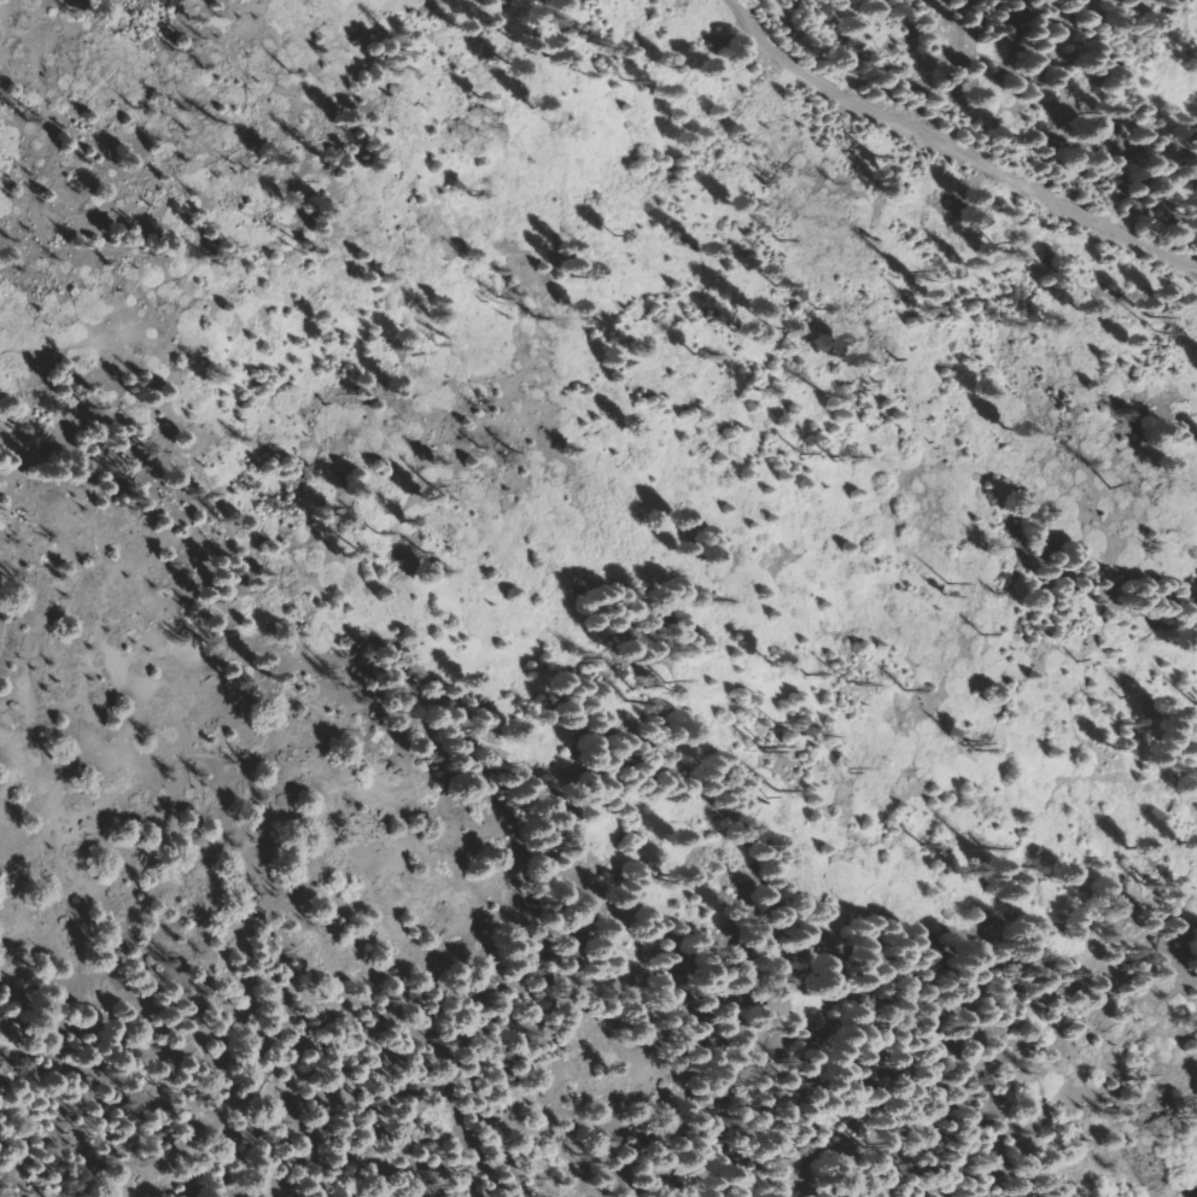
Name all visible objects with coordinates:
road: (1012, 157)

